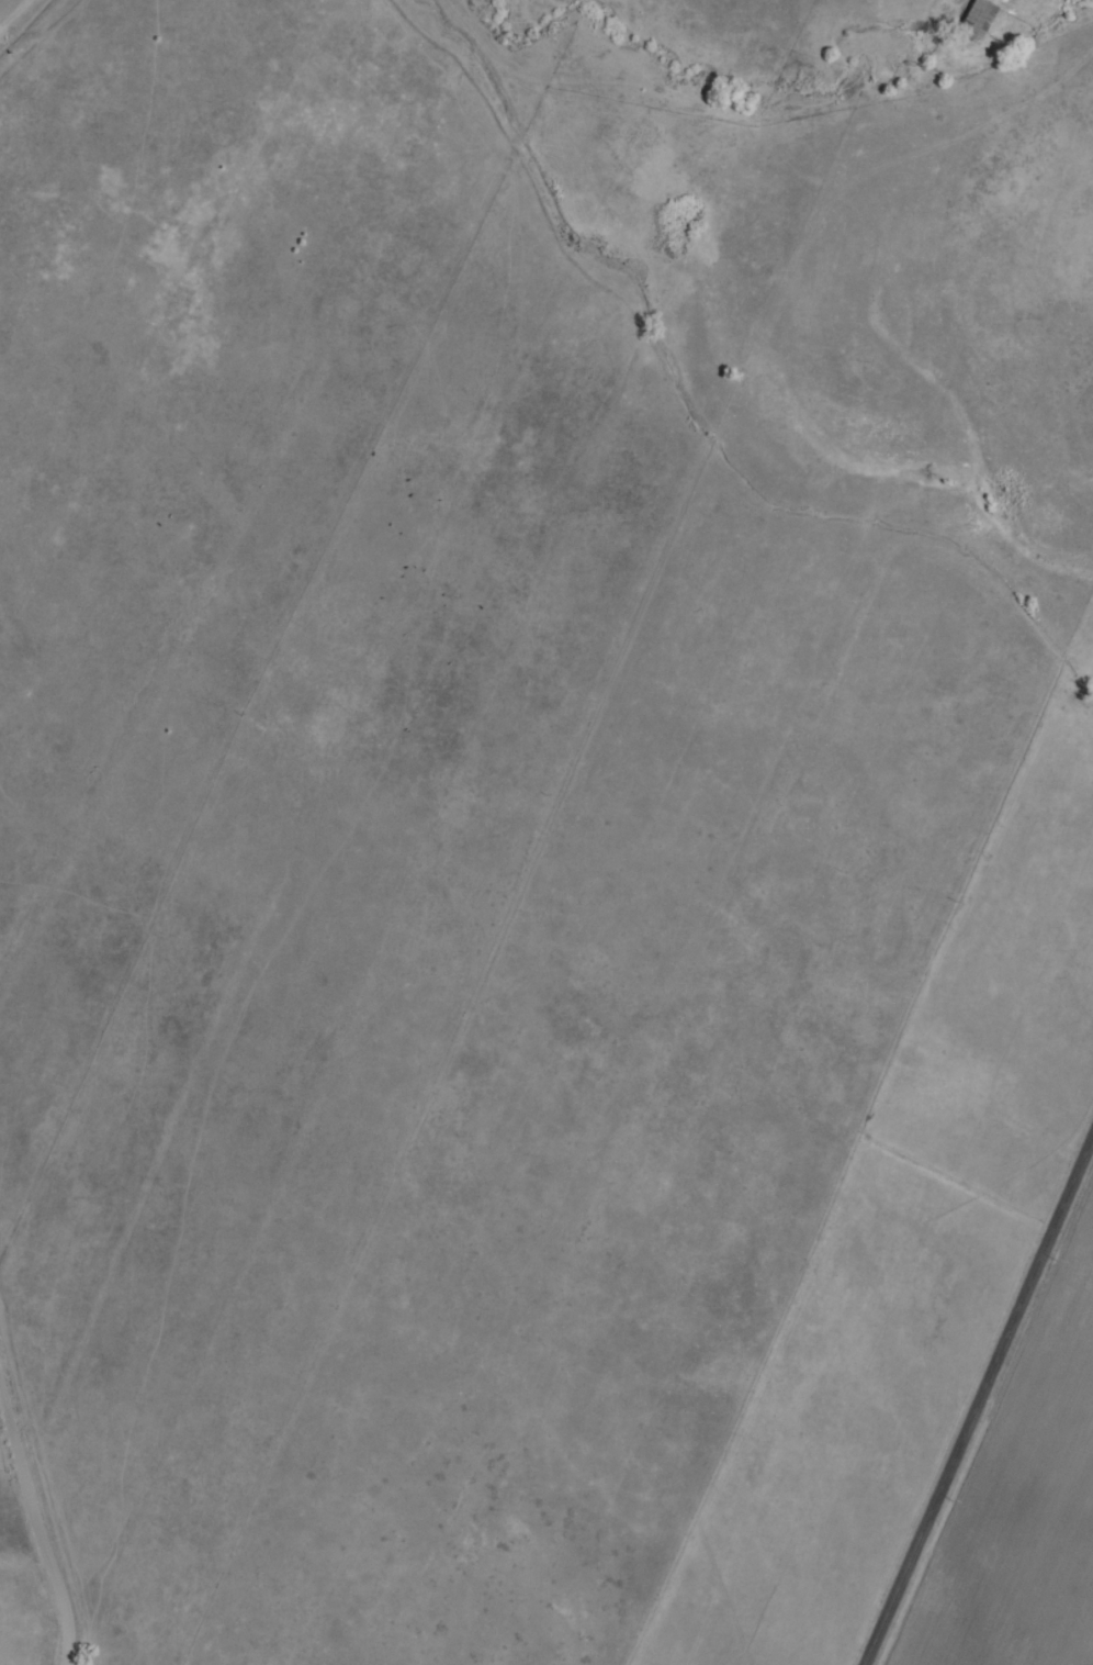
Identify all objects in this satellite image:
road: (11, 12)
building: (979, 21)
road: (753, 118)
road: (978, 1398)
road: (26, 1516)

